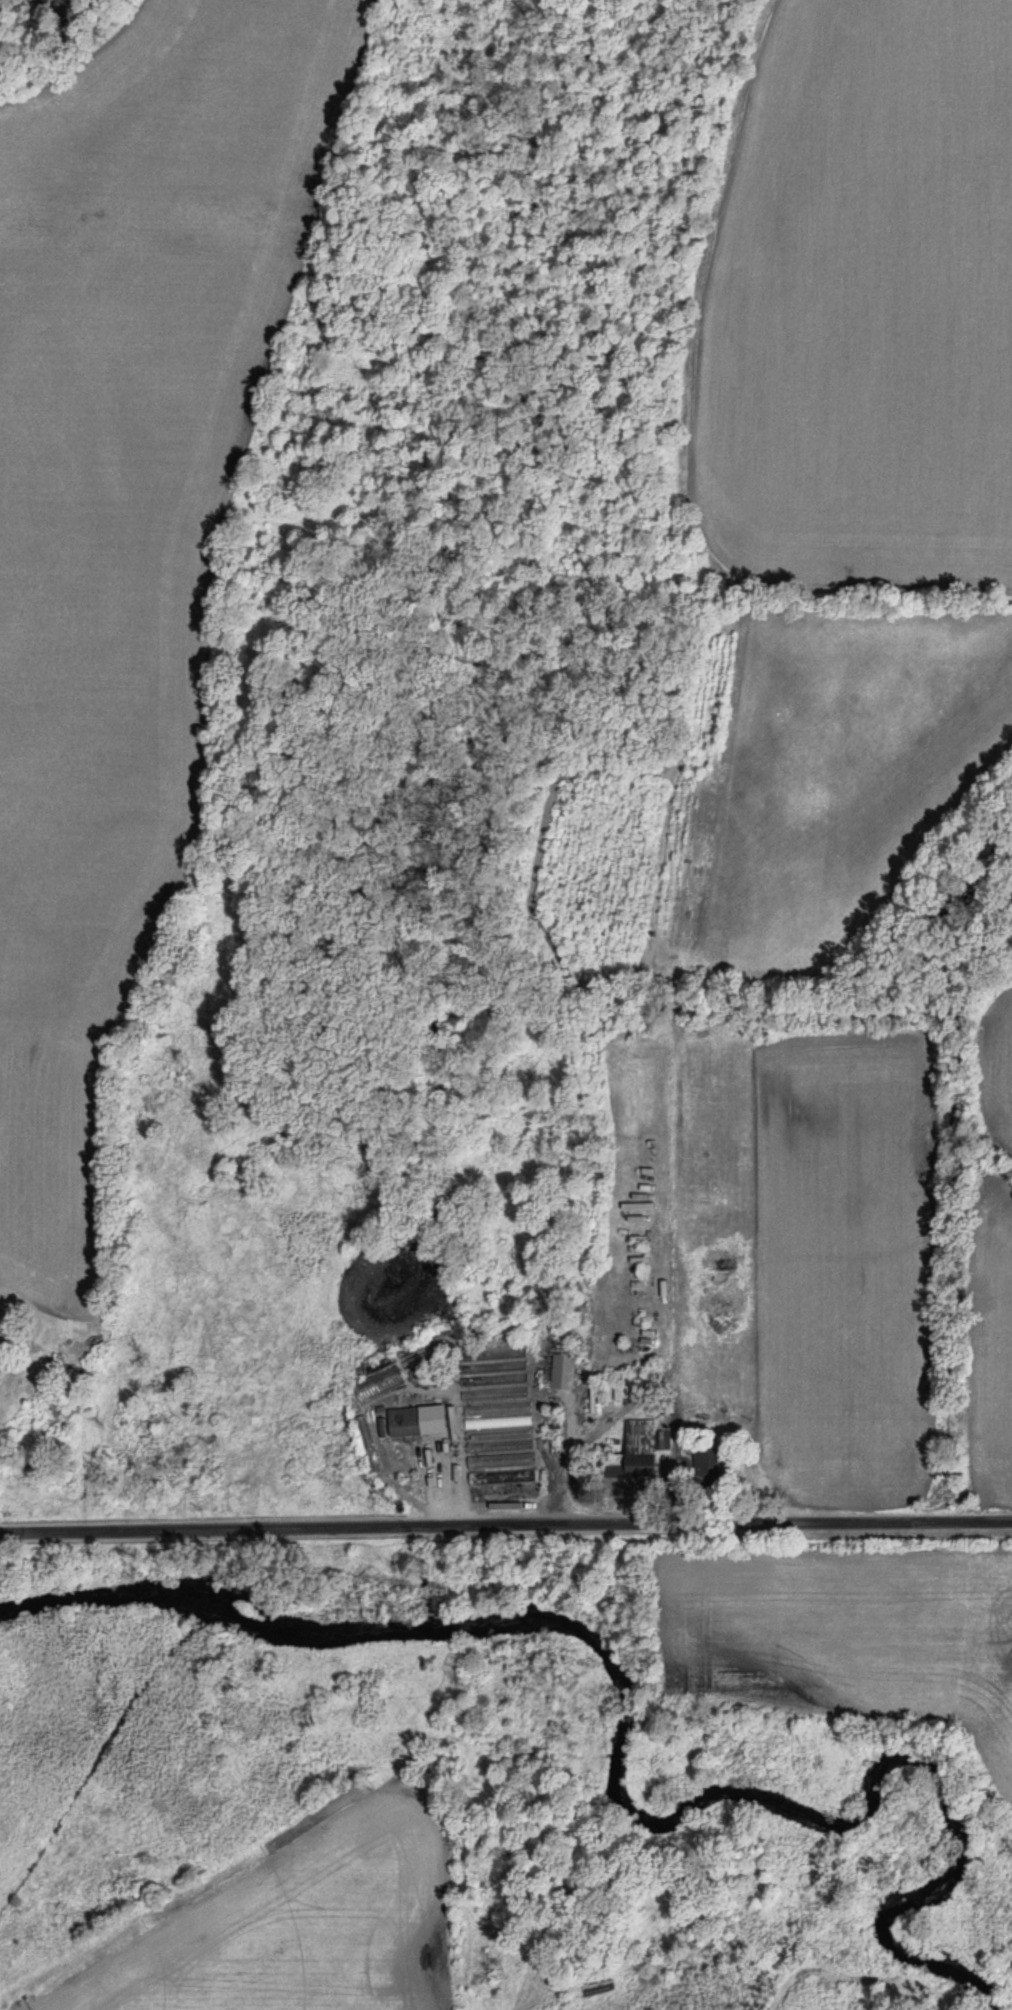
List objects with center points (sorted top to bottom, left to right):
building: (6, 1330)
building: (425, 1362)
building: (386, 1381)
building: (426, 1418)
building: (713, 1456)
road: (505, 1530)

